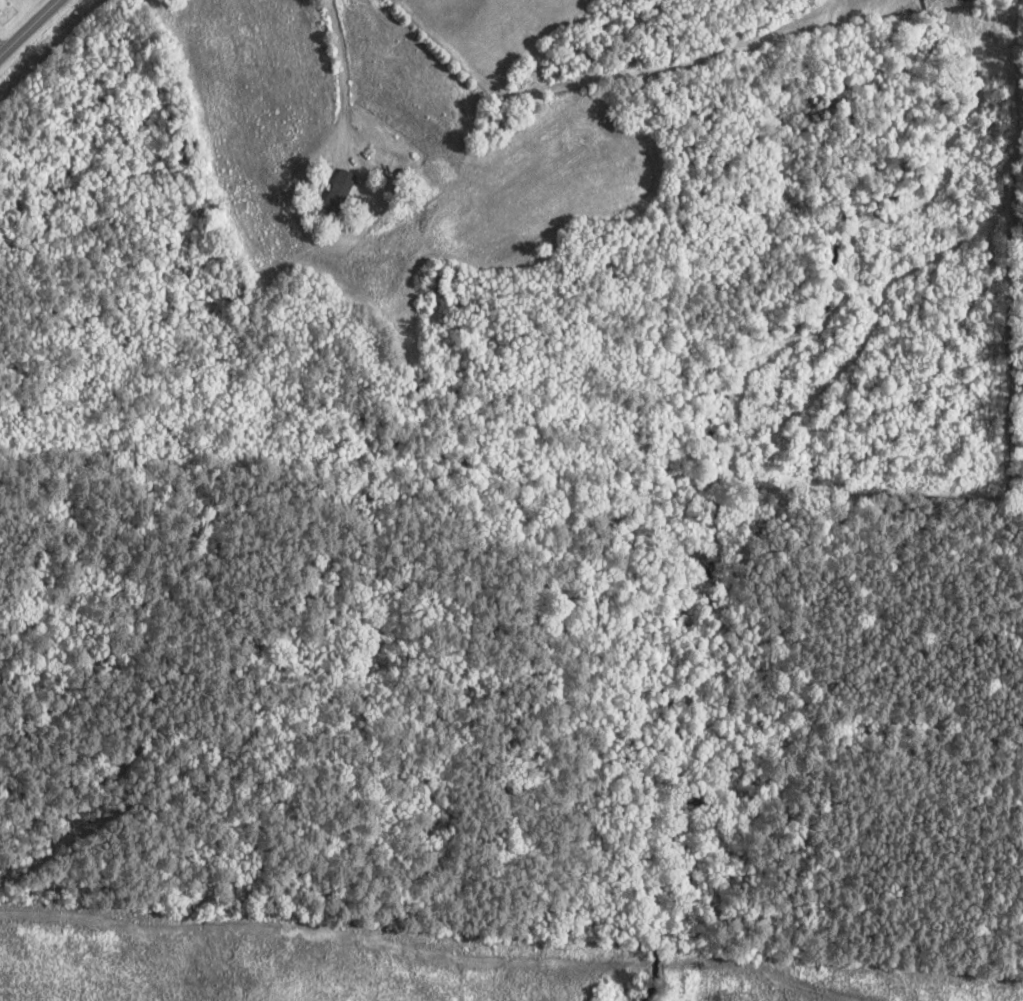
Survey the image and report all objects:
road: (30, 29)
building: (335, 198)
road: (194, 505)

